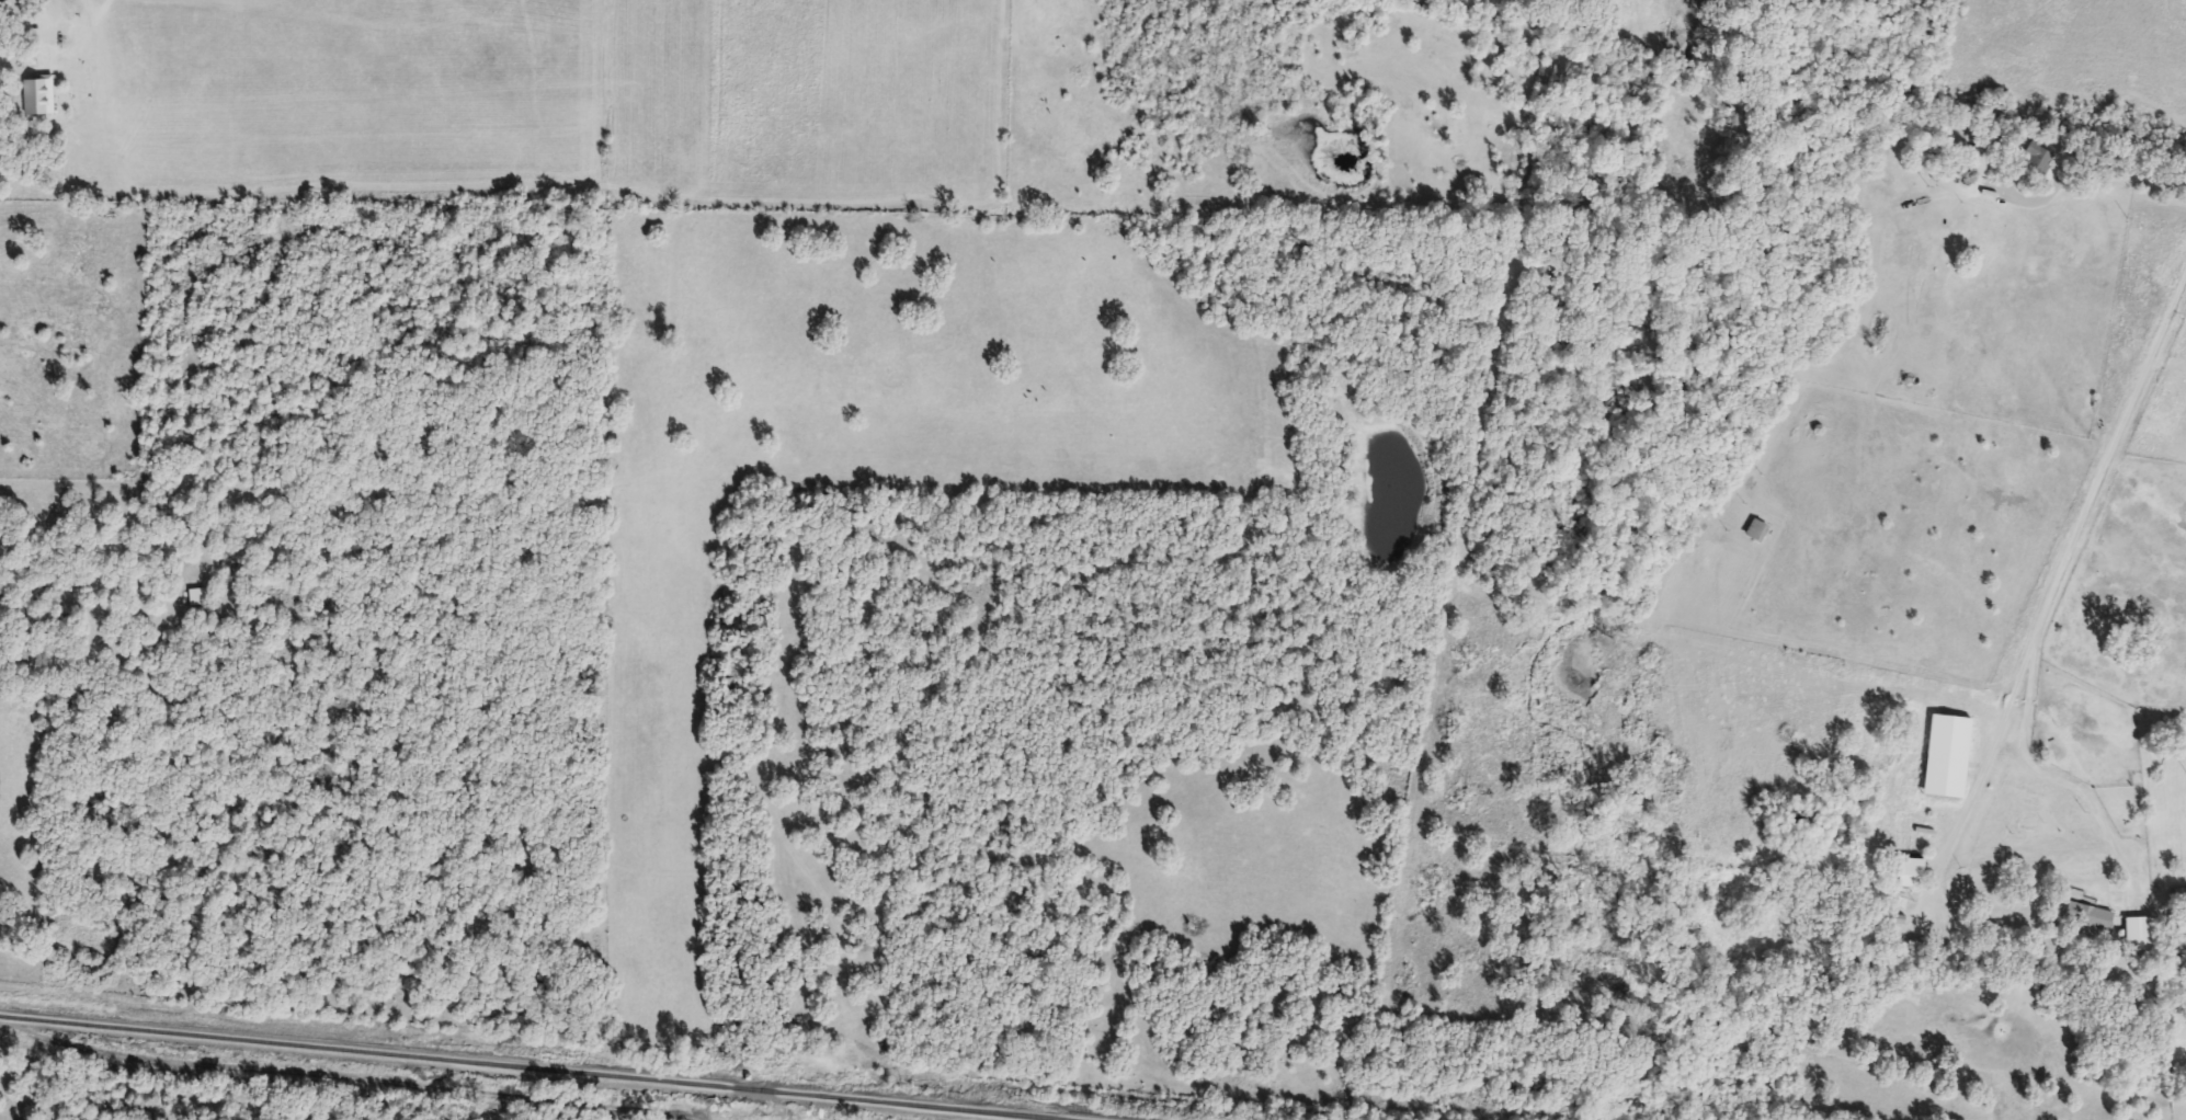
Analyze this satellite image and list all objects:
road: (34, 4)
building: (2031, 161)
building: (1979, 162)
road: (2088, 175)
building: (1754, 532)
road: (2057, 578)
road: (1990, 753)
building: (1909, 876)
building: (2177, 894)
building: (2085, 916)
building: (2177, 924)
building: (2137, 934)
railway: (522, 1068)

